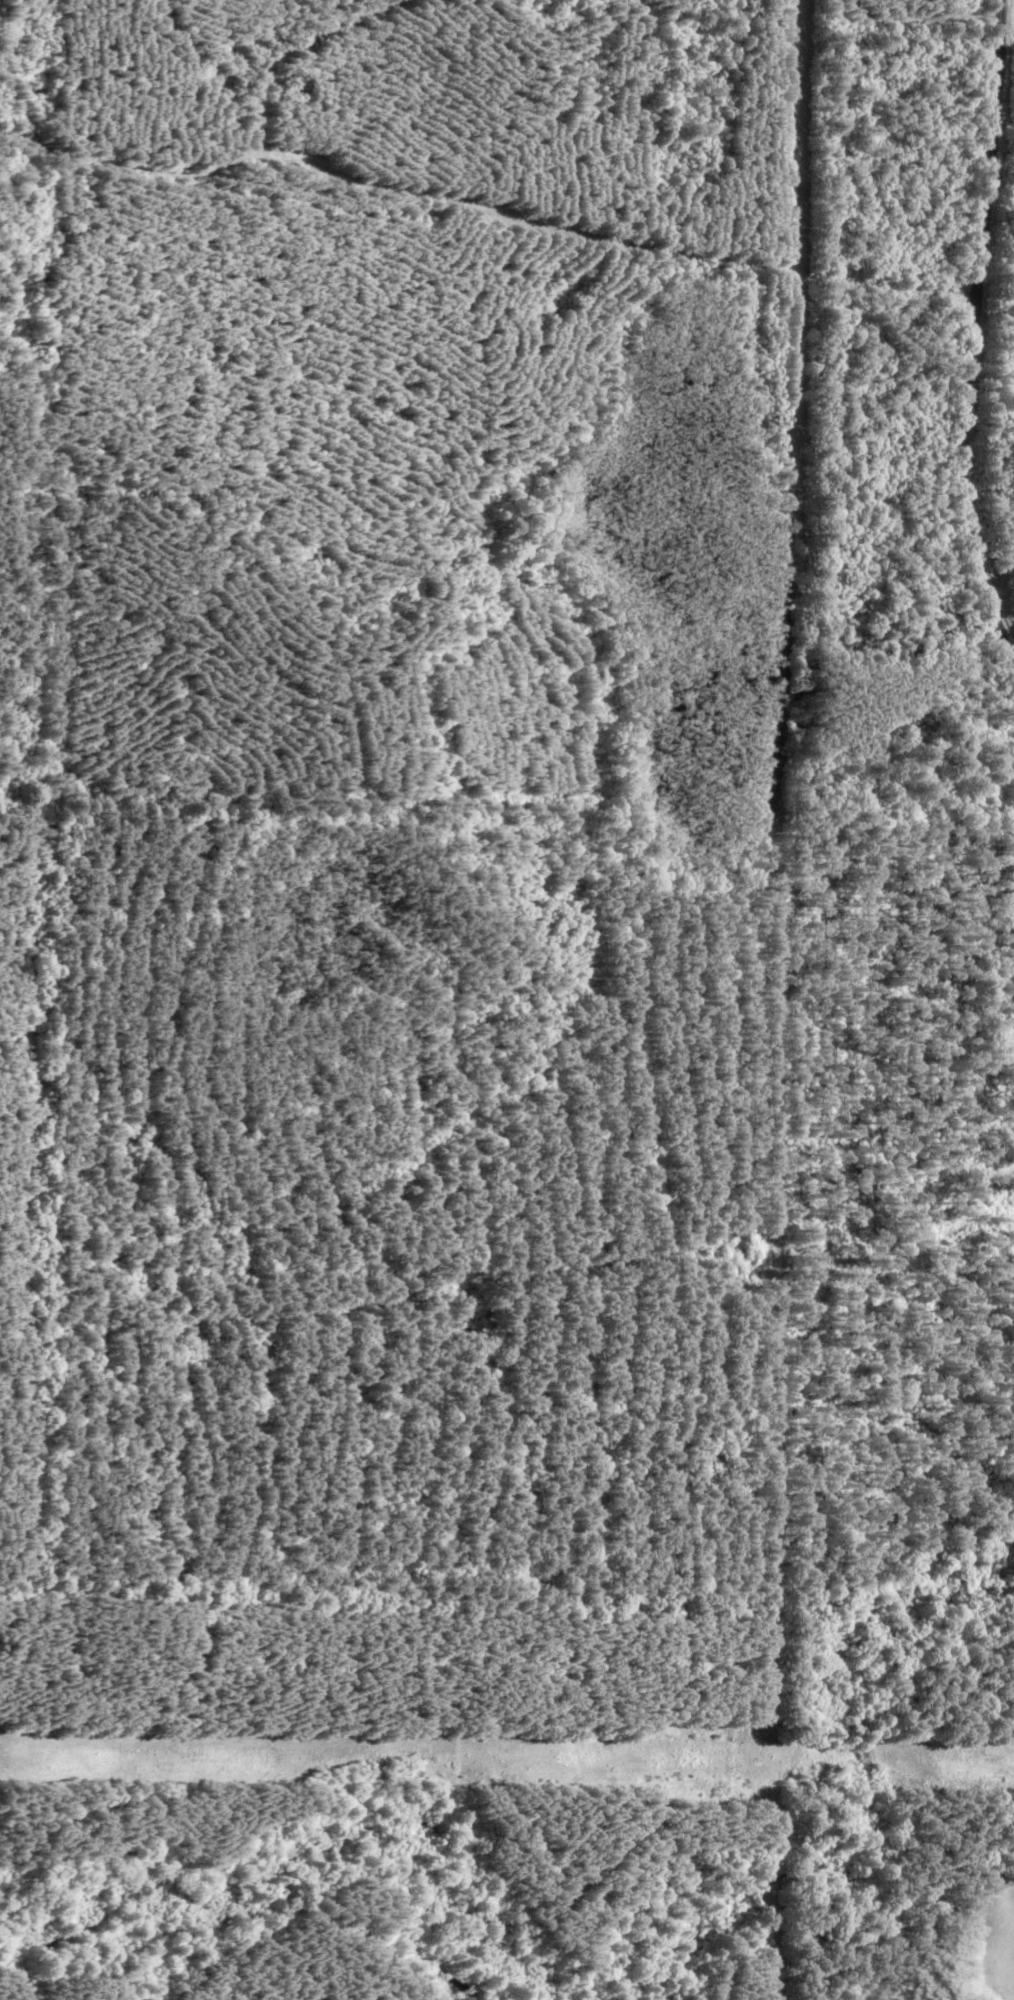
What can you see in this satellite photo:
road: (971, 338)

